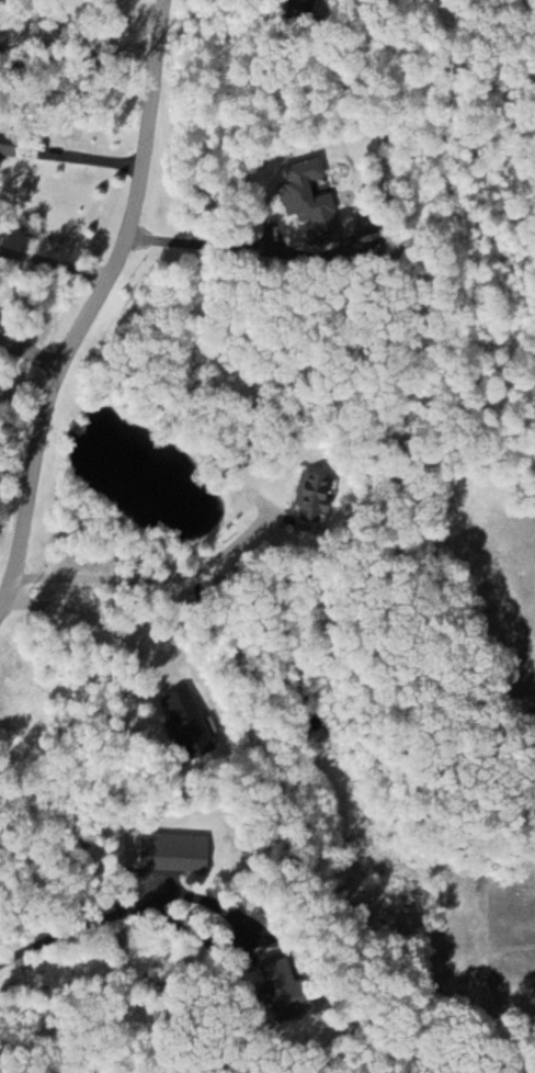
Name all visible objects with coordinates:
building: (10, 148)
road: (95, 158)
building: (315, 200)
road: (205, 244)
road: (89, 306)
road: (38, 351)
building: (323, 502)
road: (156, 579)
road: (93, 621)
building: (196, 723)
building: (301, 1004)

